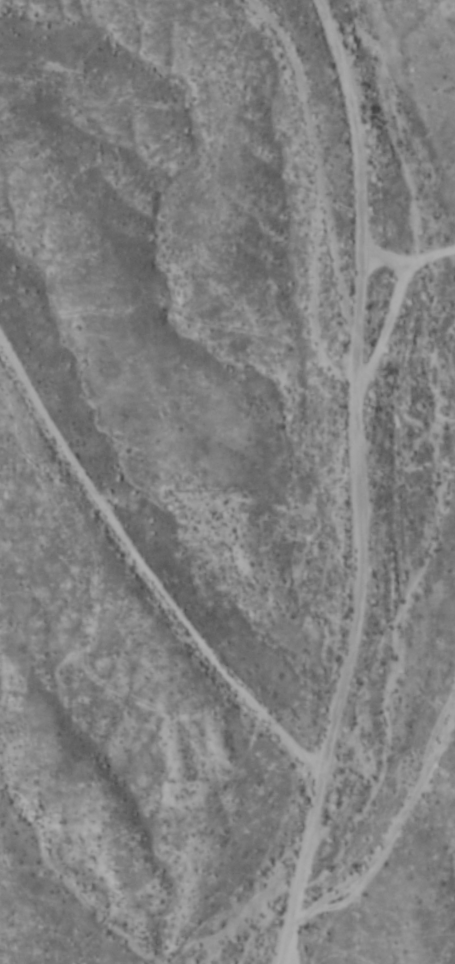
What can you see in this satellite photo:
road: (407, 250)
road: (360, 482)
road: (380, 839)

